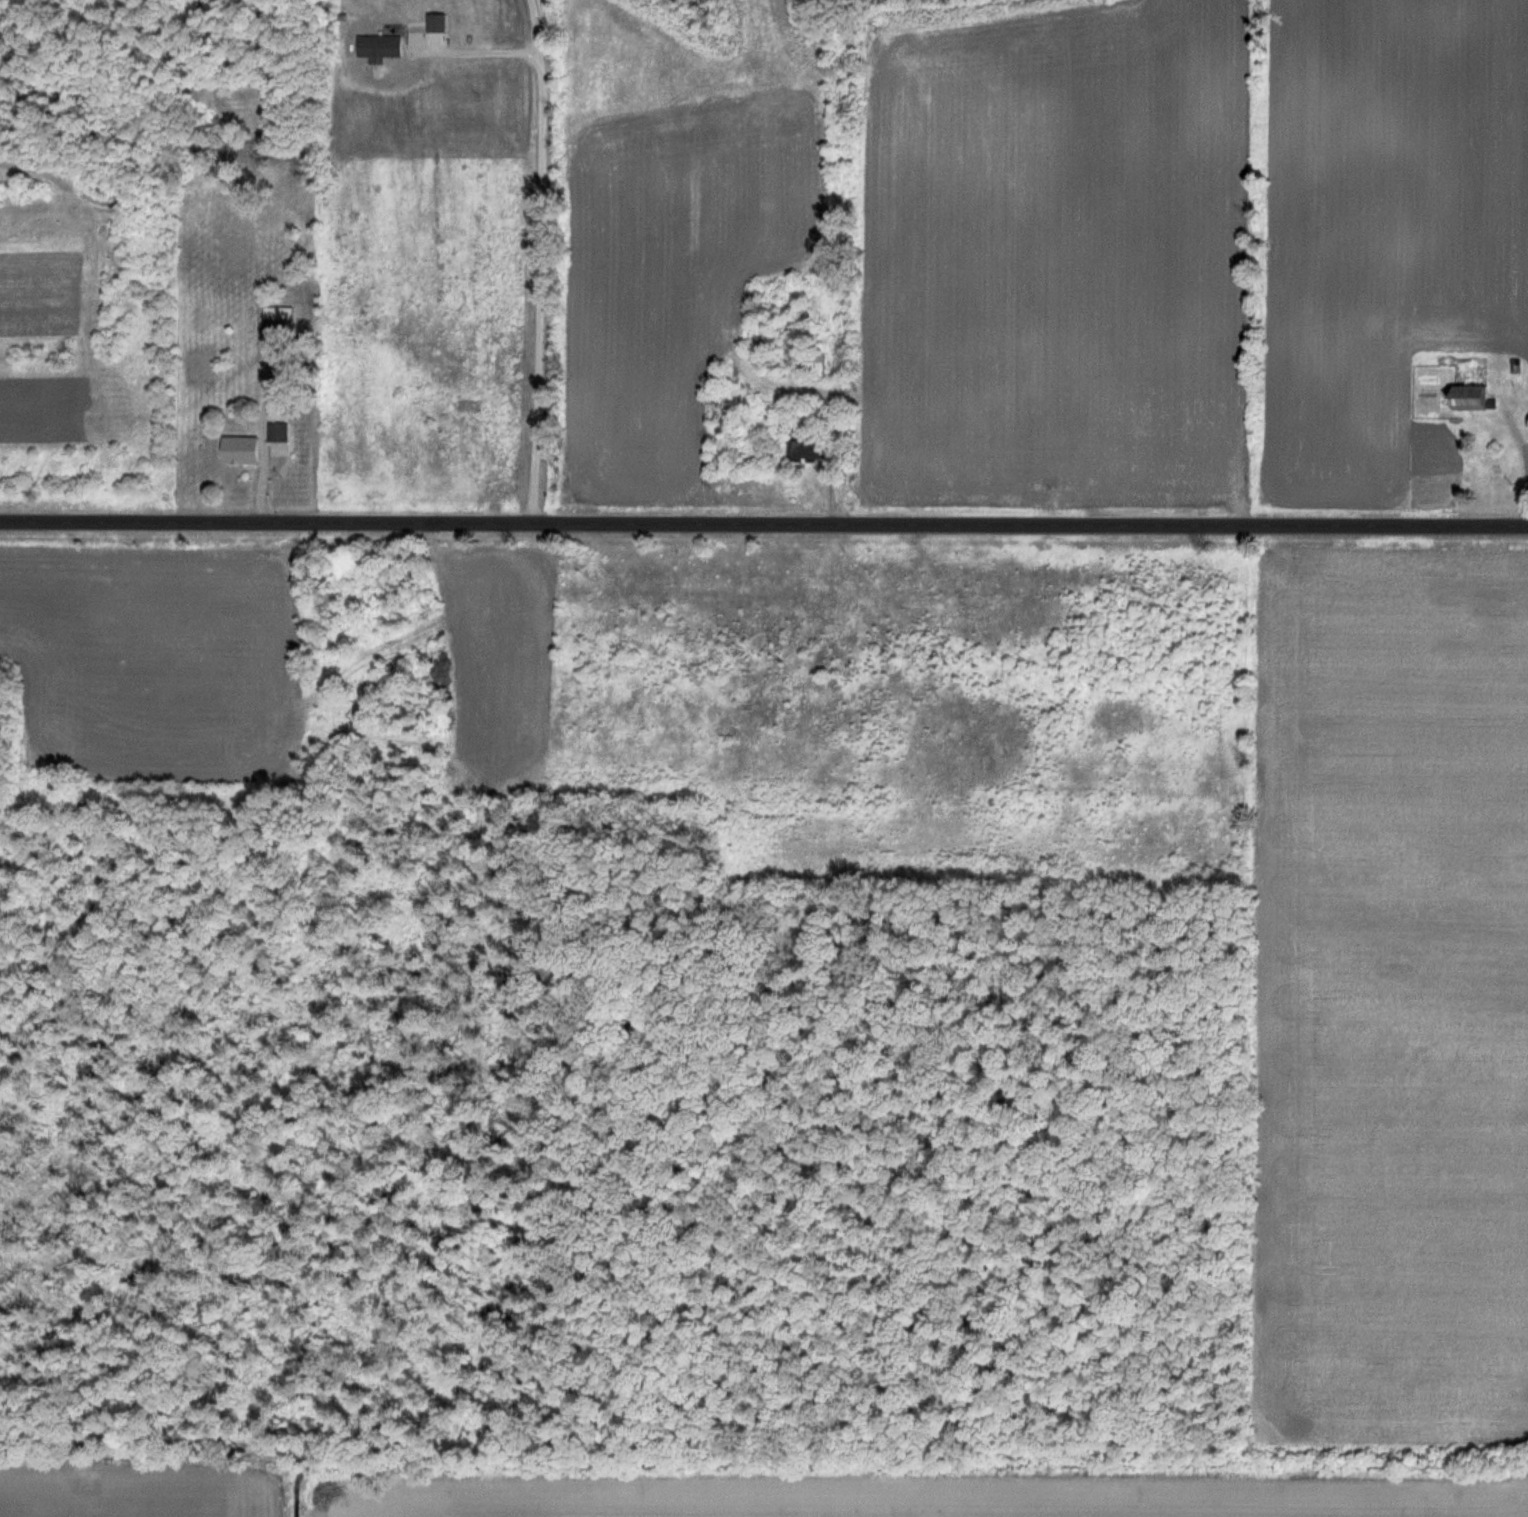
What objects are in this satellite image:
building: (385, 46)
road: (542, 261)
building: (793, 319)
building: (281, 329)
building: (815, 362)
building: (1478, 398)
building: (279, 441)
road: (1522, 448)
building: (813, 450)
building: (241, 451)
road: (764, 524)

